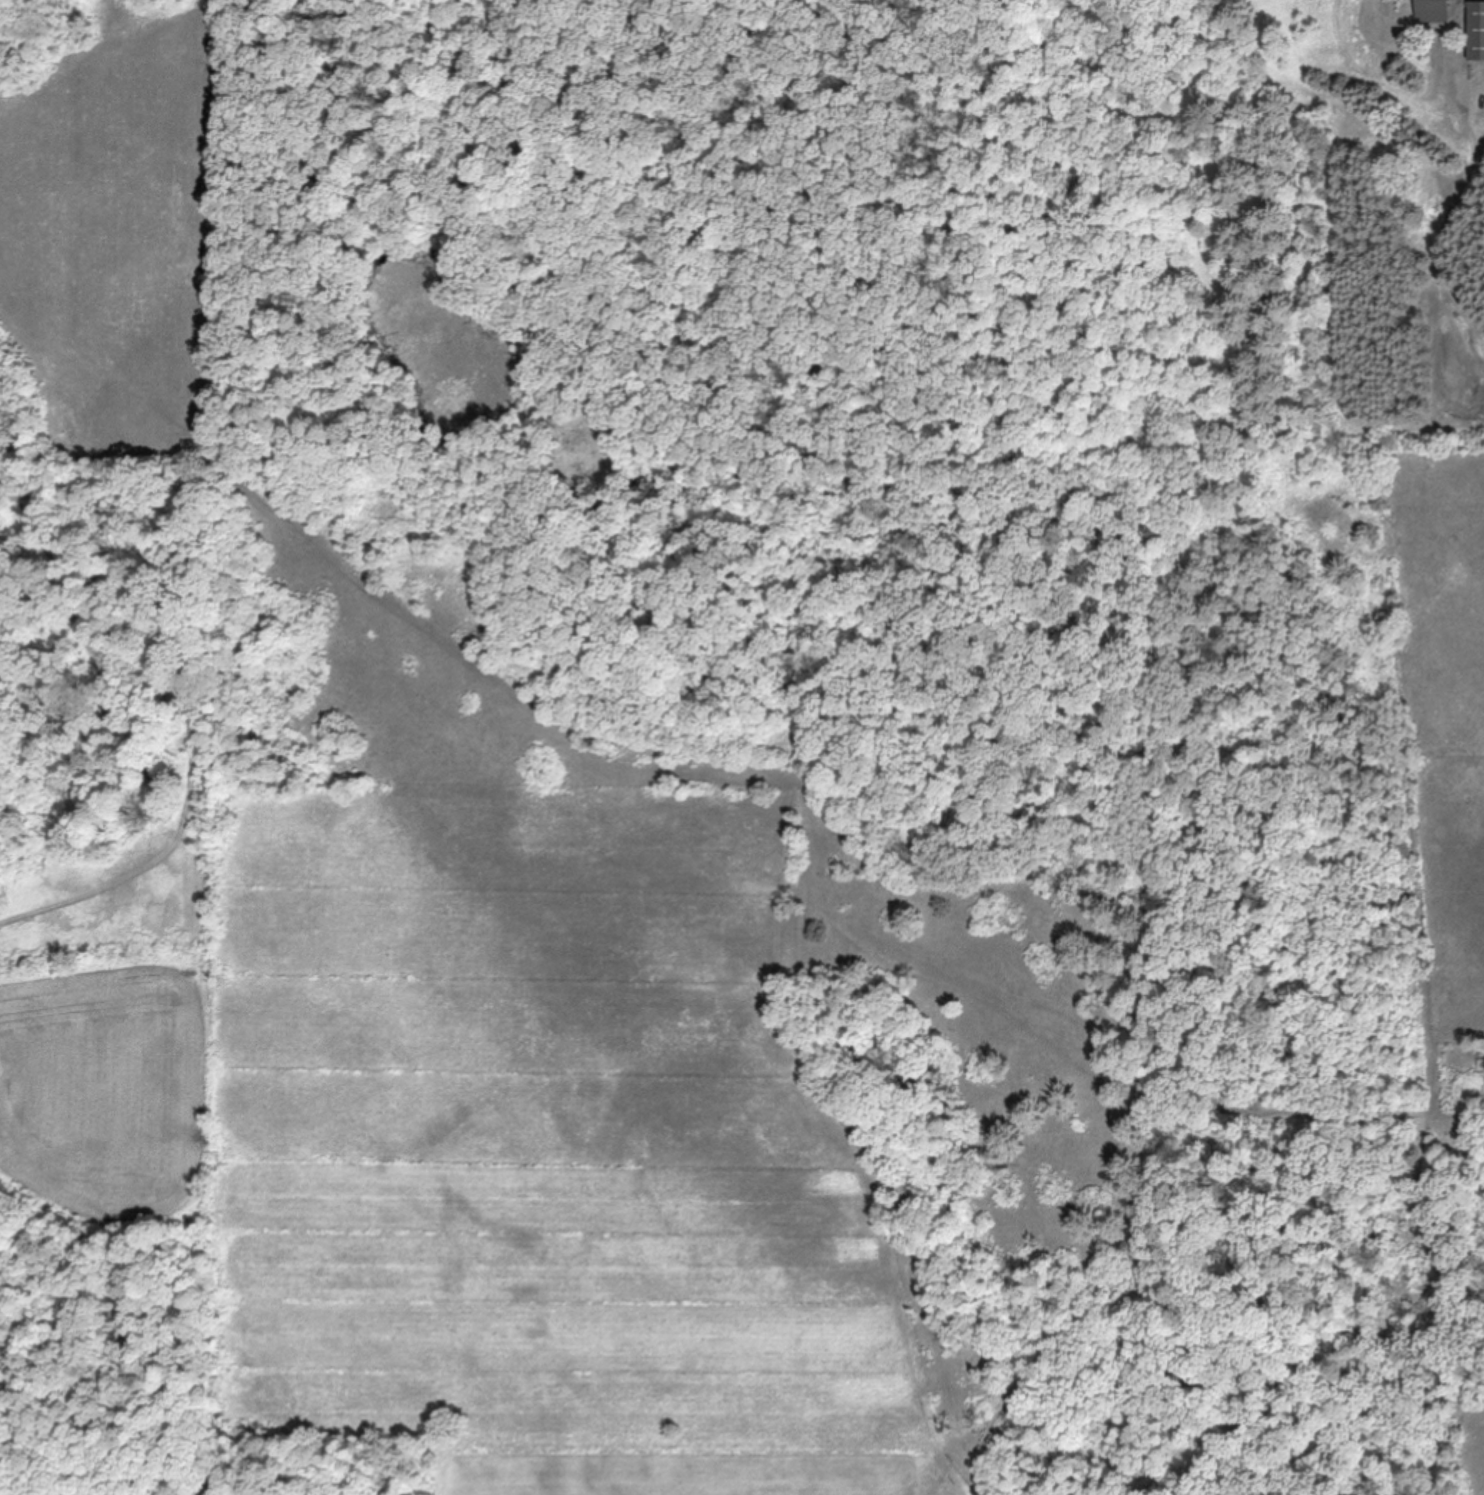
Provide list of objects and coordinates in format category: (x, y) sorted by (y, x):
building: (1433, 12)
building: (1476, 33)

